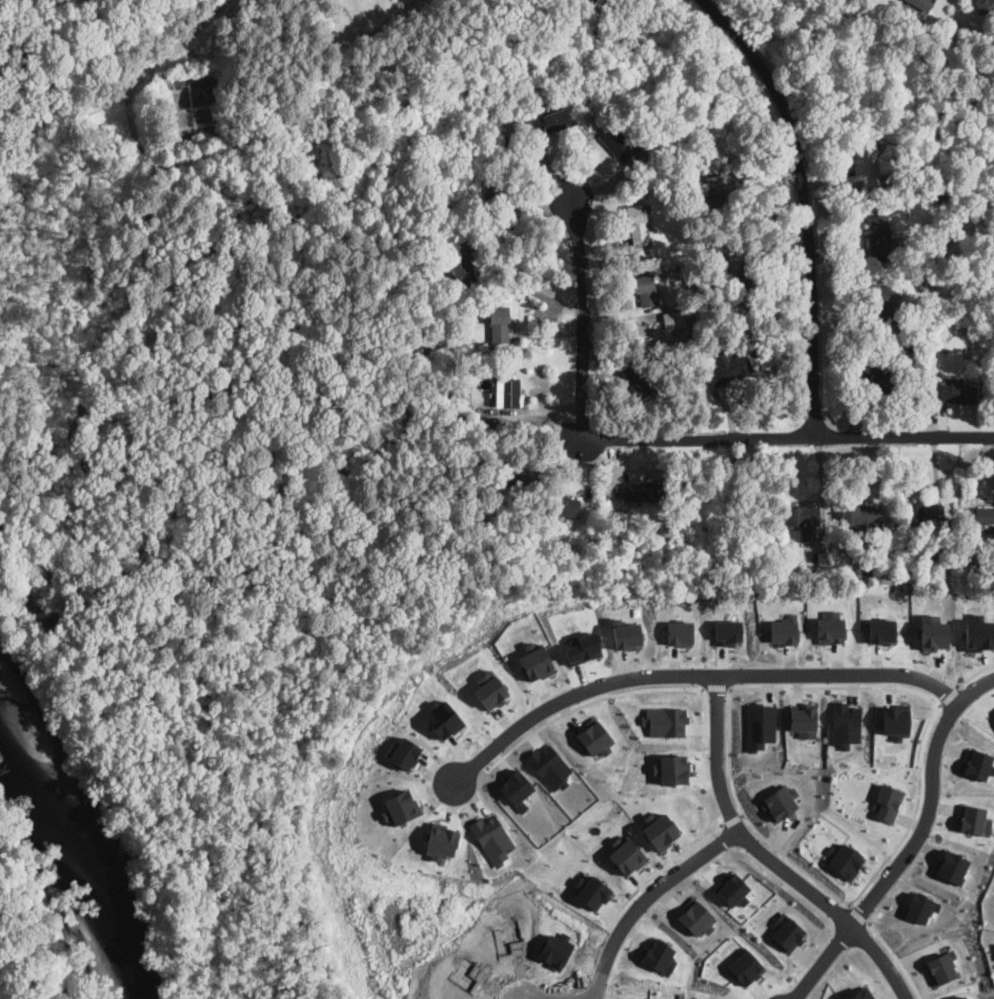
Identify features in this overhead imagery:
building: (588, 2)
building: (920, 4)
building: (984, 6)
building: (553, 121)
building: (665, 135)
building: (501, 136)
building: (896, 139)
building: (619, 141)
building: (865, 155)
building: (490, 188)
building: (717, 191)
building: (940, 197)
road: (806, 204)
building: (469, 210)
road: (525, 218)
building: (637, 225)
building: (878, 235)
building: (434, 254)
building: (460, 267)
building: (954, 280)
building: (645, 289)
building: (739, 290)
building: (886, 303)
road: (579, 320)
building: (497, 324)
building: (912, 332)
building: (915, 351)
building: (425, 356)
building: (483, 363)
building: (727, 368)
building: (636, 375)
building: (883, 376)
building: (509, 393)
building: (953, 394)
road: (536, 409)
road: (787, 438)
building: (507, 471)
building: (642, 491)
building: (562, 506)
building: (924, 513)
building: (861, 514)
building: (980, 515)
building: (803, 520)
building: (548, 554)
building: (936, 558)
building: (823, 560)
building: (867, 572)
building: (782, 575)
building: (830, 626)
building: (782, 630)
building: (881, 630)
building: (679, 631)
building: (727, 631)
building: (626, 633)
building: (582, 647)
building: (534, 663)
road: (688, 675)
road: (815, 686)
building: (488, 688)
road: (715, 690)
road: (584, 702)
building: (802, 718)
building: (443, 720)
building: (664, 720)
building: (894, 720)
building: (844, 724)
building: (759, 725)
building: (594, 737)
building: (401, 751)
building: (978, 764)
building: (549, 766)
building: (670, 769)
building: (516, 788)
building: (779, 802)
building: (886, 802)
building: (399, 806)
building: (973, 819)
building: (659, 830)
building: (492, 837)
building: (440, 840)
road: (913, 843)
river: (71, 847)
building: (625, 854)
road: (769, 857)
building: (844, 860)
building: (951, 865)
building: (732, 889)
building: (591, 891)
road: (644, 896)
building: (919, 906)
road: (859, 911)
building: (696, 917)
building: (786, 931)
park: (27, 938)
building: (658, 955)
road: (897, 958)
building: (744, 966)
building: (940, 968)
building: (860, 994)
building: (960, 997)
building: (629, 998)

